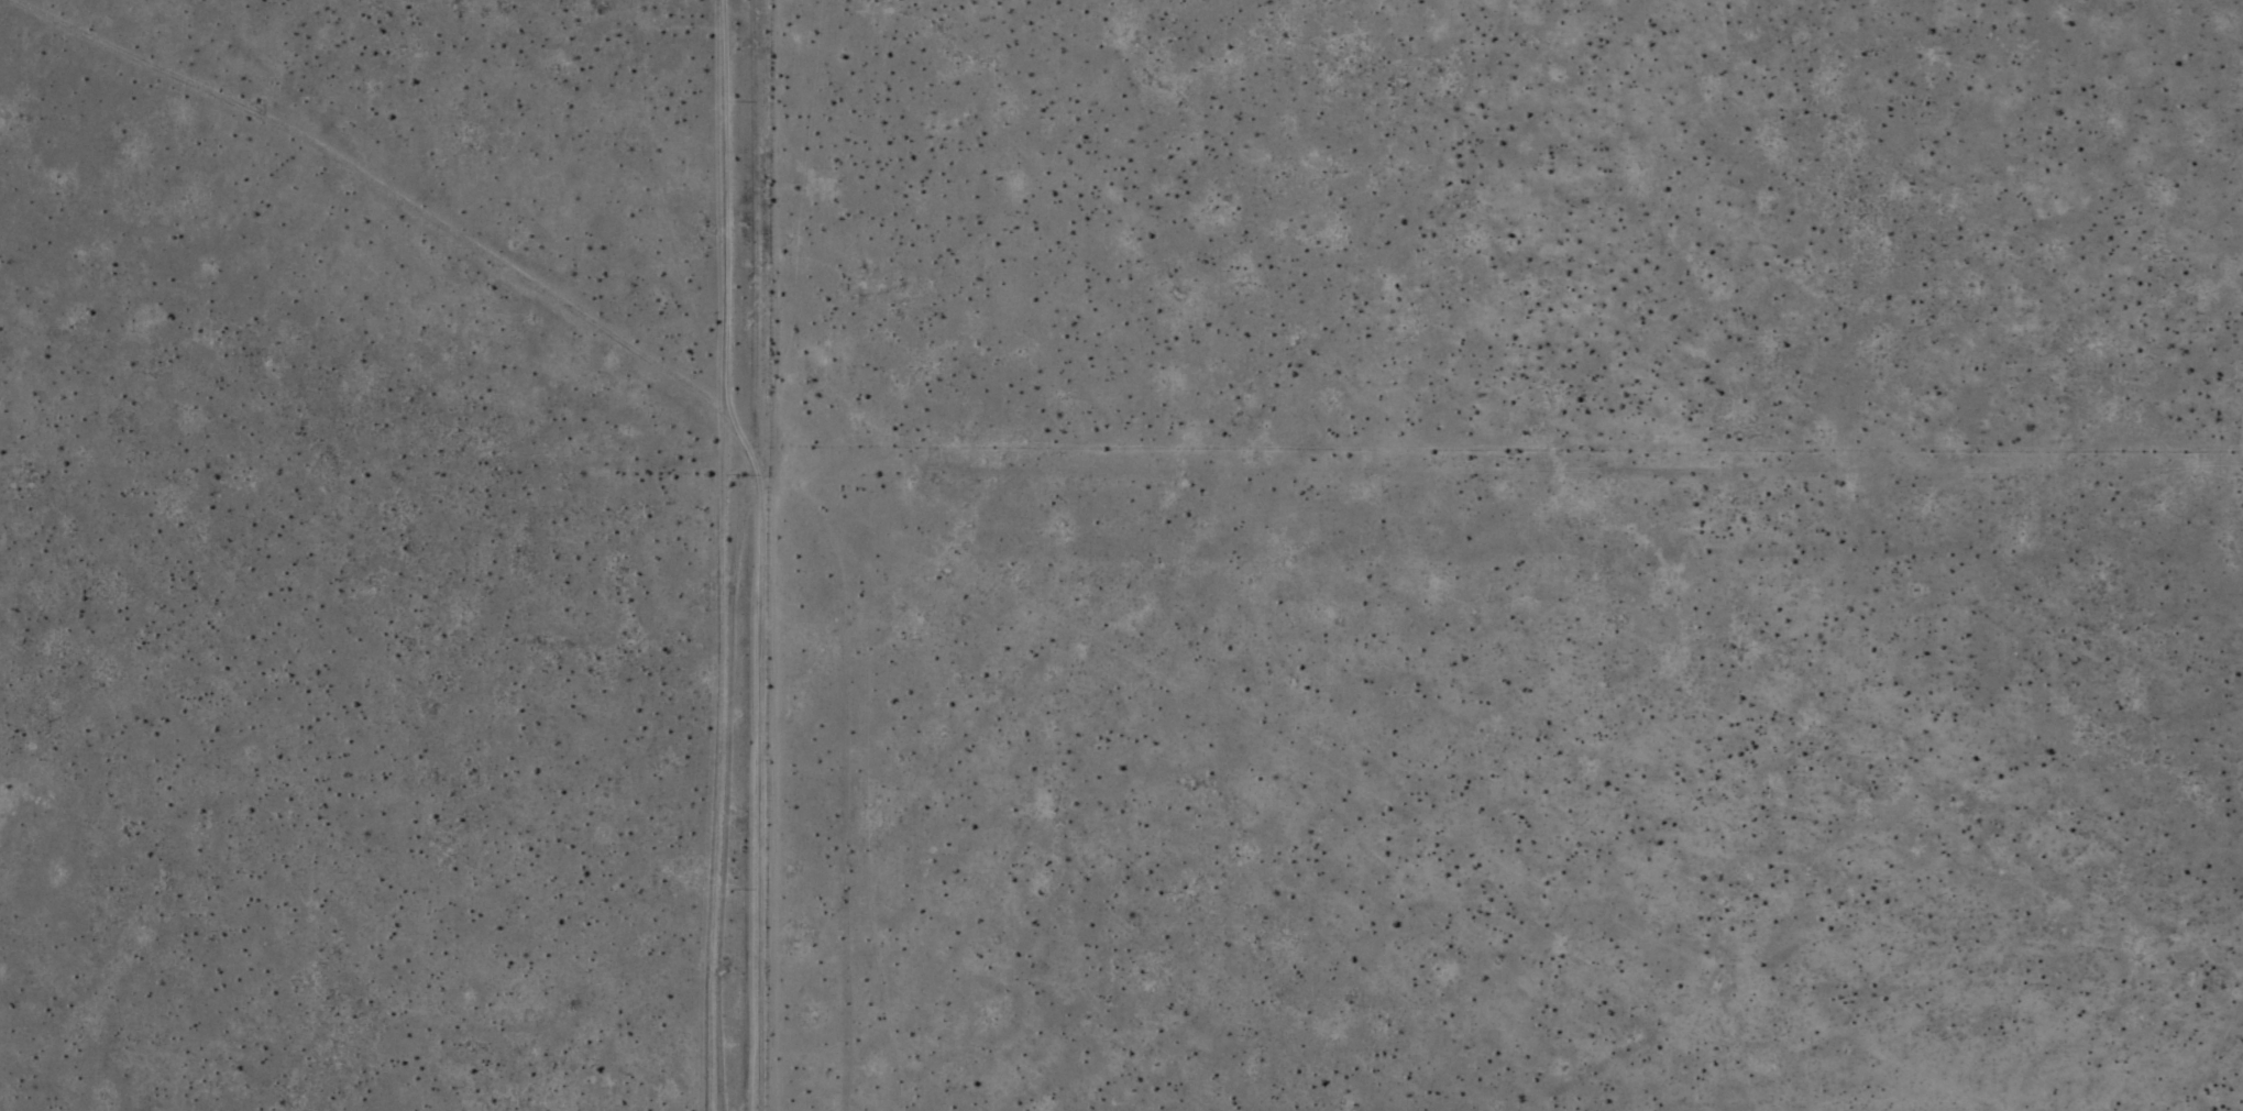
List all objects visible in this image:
road: (1494, 463)
road: (745, 554)

